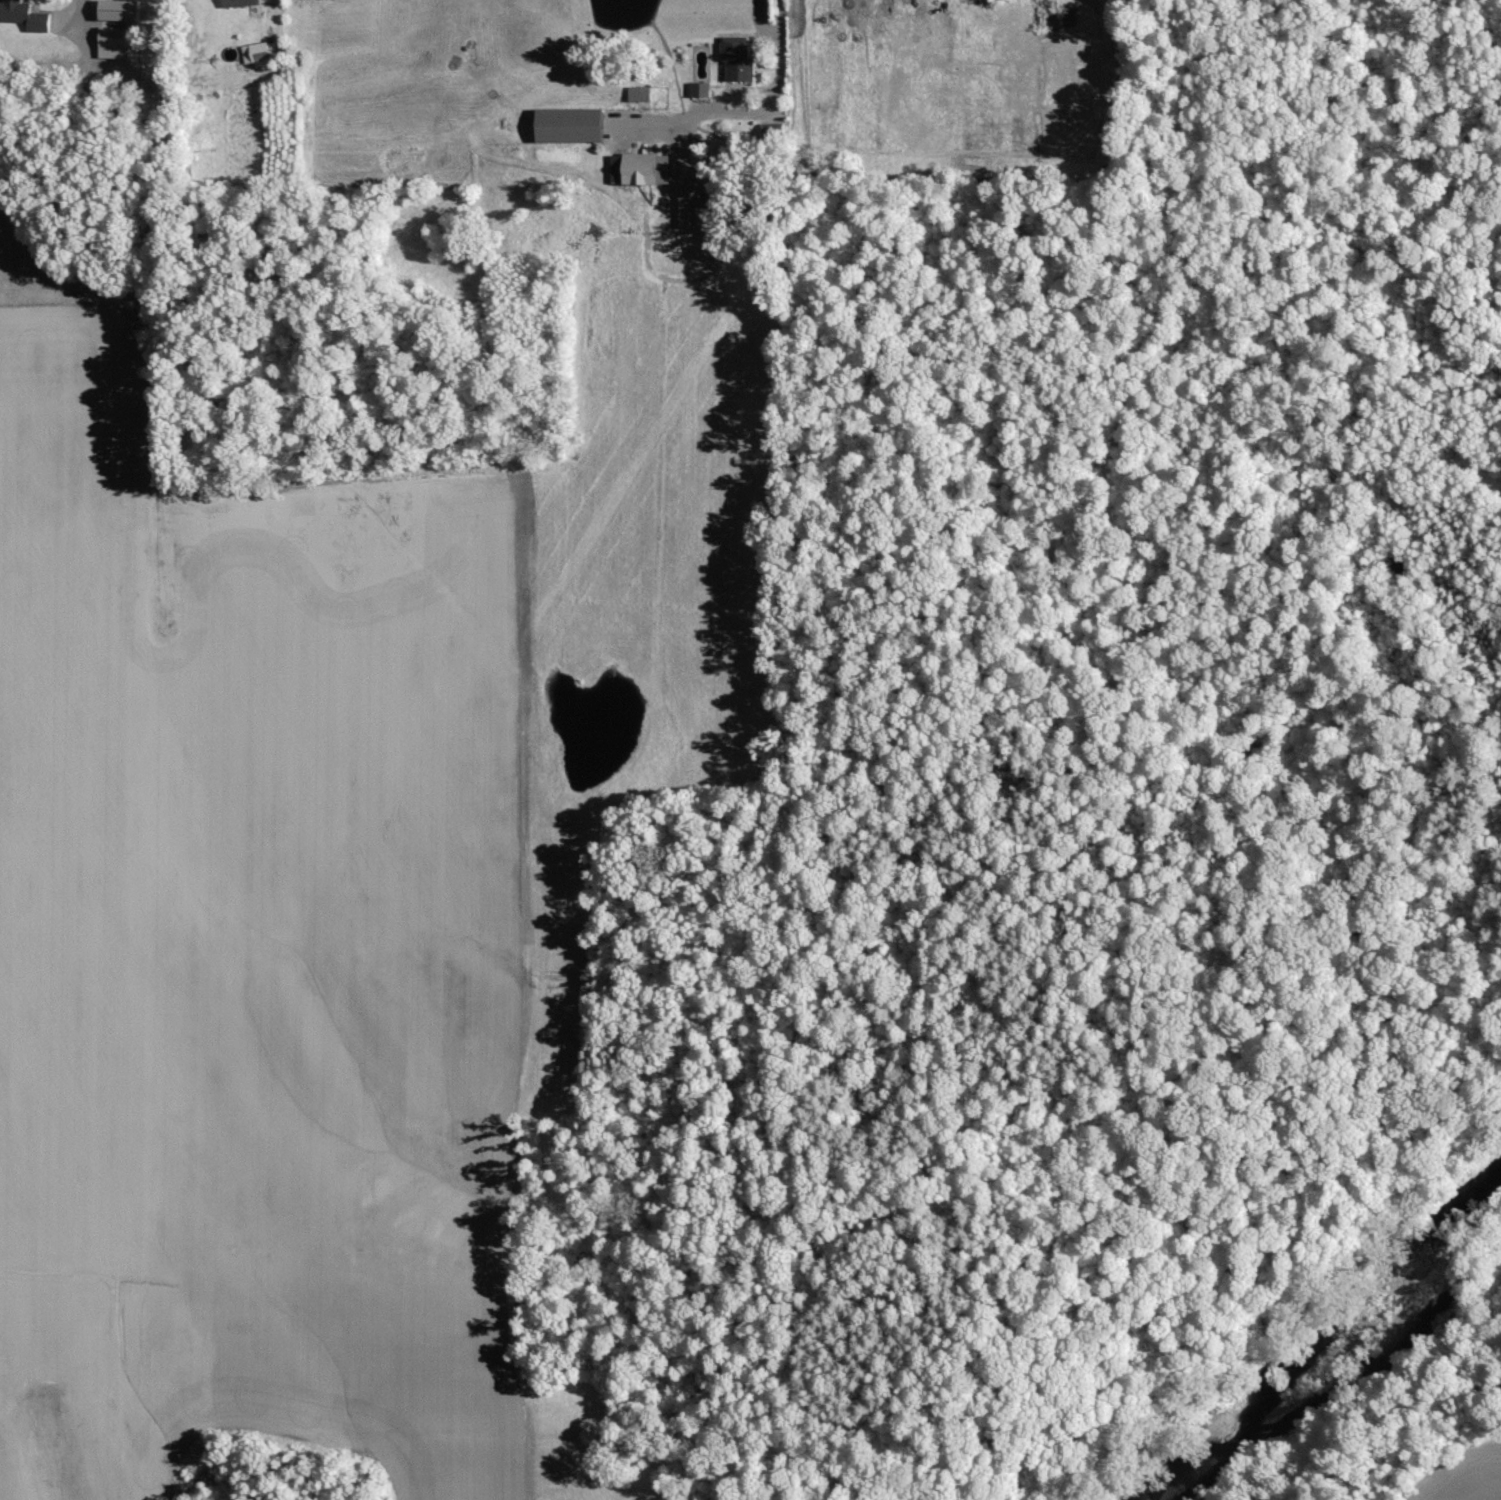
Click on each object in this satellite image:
building: (240, 3)
building: (119, 10)
building: (24, 16)
building: (112, 42)
building: (260, 54)
building: (737, 59)
road: (783, 69)
building: (701, 90)
building: (639, 94)
building: (570, 126)
building: (773, 132)
building: (641, 169)
building: (692, 205)

